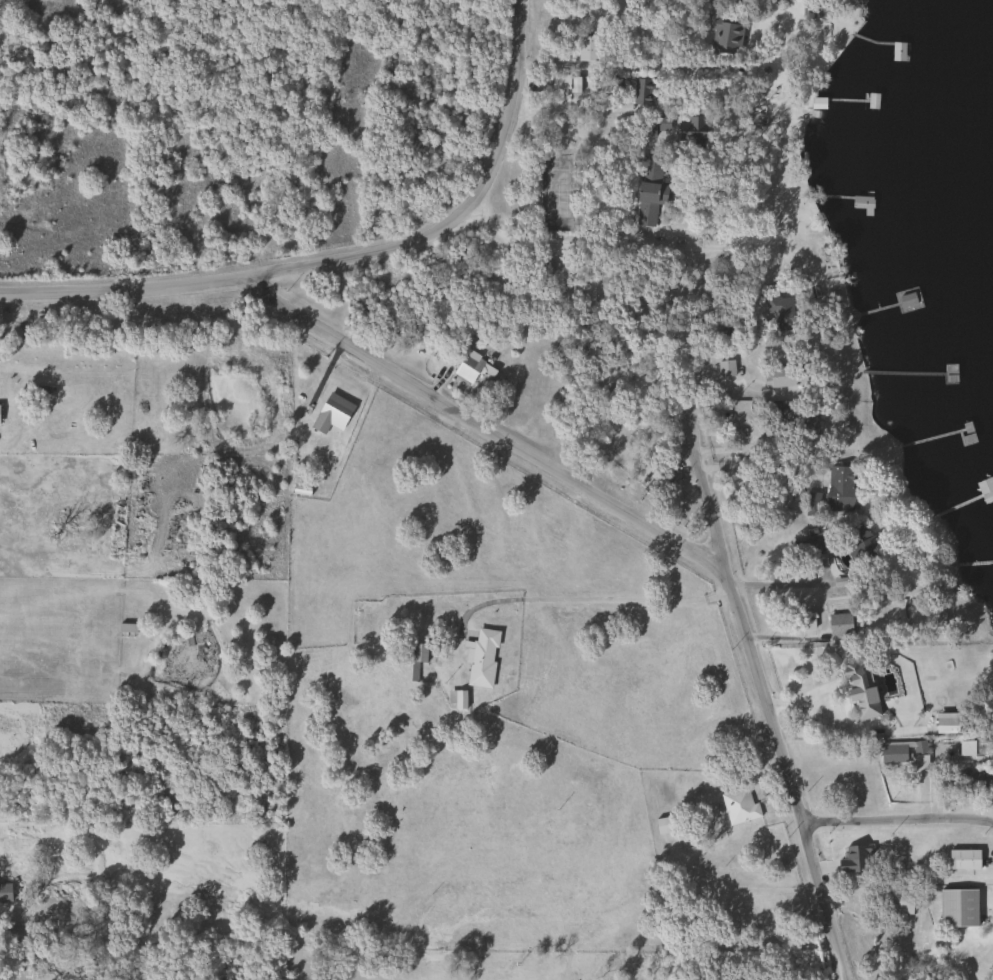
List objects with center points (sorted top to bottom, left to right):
building: (723, 34)
building: (587, 48)
building: (899, 52)
road: (620, 66)
building: (563, 83)
building: (643, 92)
road: (584, 109)
building: (653, 126)
building: (691, 131)
road: (601, 143)
building: (648, 191)
road: (462, 209)
road: (605, 243)
building: (539, 265)
building: (907, 299)
building: (778, 309)
building: (467, 368)
building: (784, 375)
building: (331, 414)
building: (797, 420)
road: (695, 461)
road: (748, 465)
road: (559, 472)
building: (839, 488)
building: (807, 547)
road: (777, 583)
road: (590, 599)
building: (842, 625)
building: (126, 628)
building: (482, 658)
building: (861, 691)
building: (948, 723)
building: (965, 749)
building: (892, 753)
building: (739, 807)
road: (898, 820)
building: (963, 860)
building: (5, 893)
building: (900, 902)
building: (957, 909)

